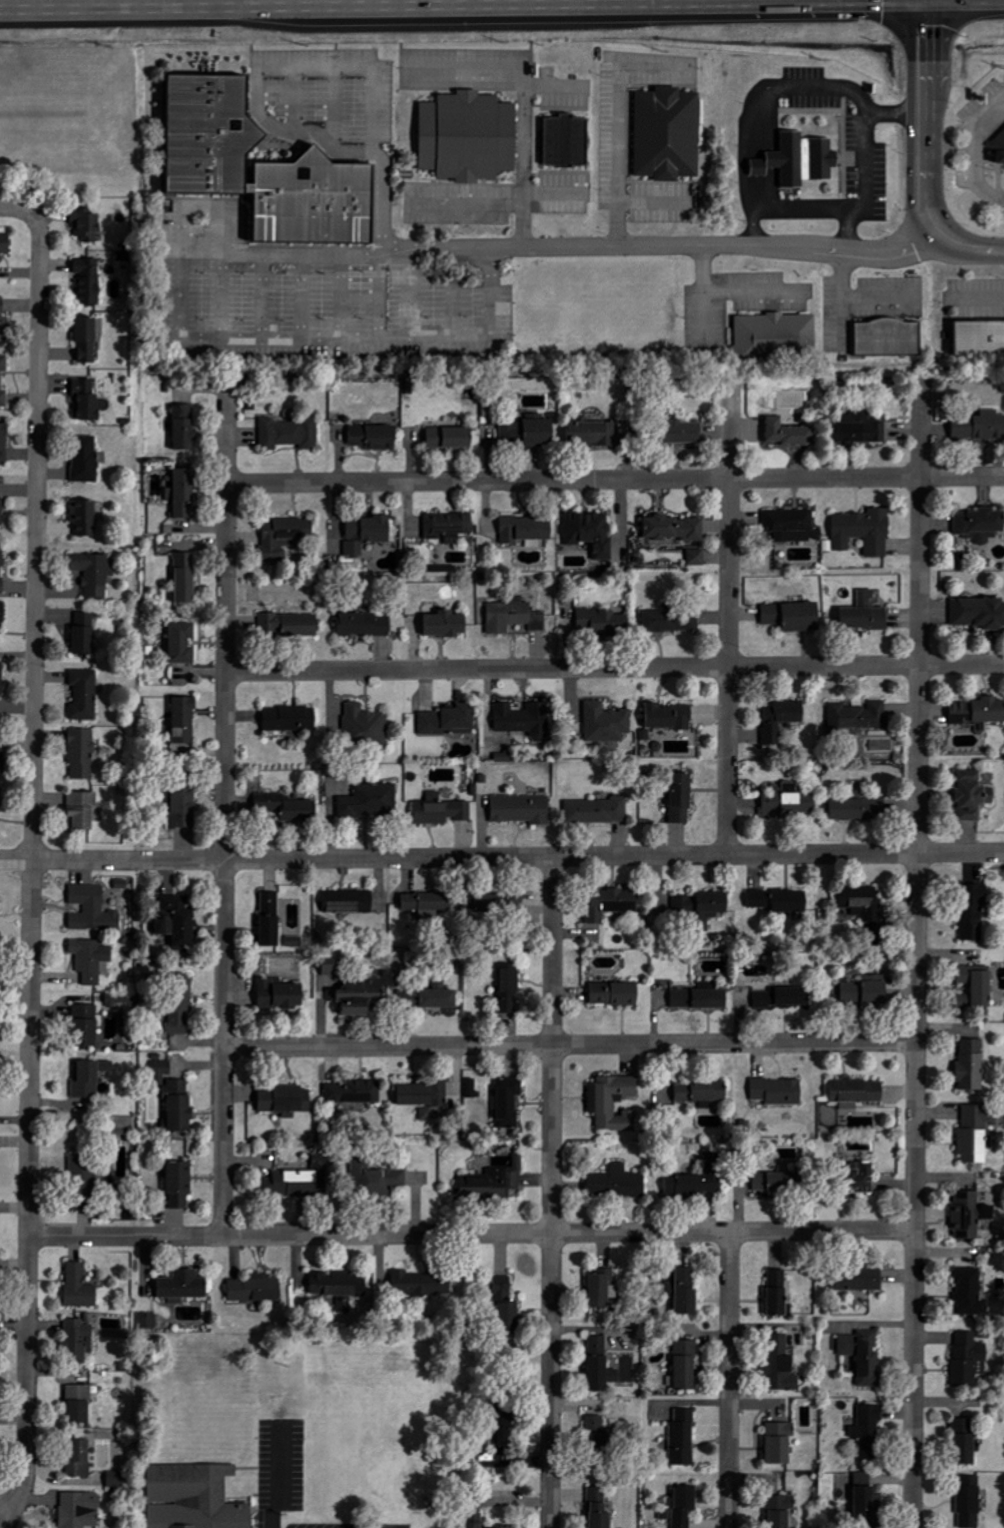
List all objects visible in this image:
traffic signals: (885, 1)
road: (470, 5)
traffic signals: (939, 26)
road: (761, 92)
road: (521, 105)
road: (371, 117)
road: (935, 117)
road: (912, 124)
building: (668, 134)
building: (469, 136)
building: (566, 140)
road: (953, 147)
road: (972, 147)
building: (999, 147)
building: (800, 159)
road: (614, 161)
building: (263, 166)
road: (1000, 205)
road: (853, 206)
road: (9, 207)
building: (88, 224)
road: (844, 231)
building: (5, 243)
road: (669, 246)
road: (967, 250)
building: (89, 280)
road: (980, 298)
building: (4, 322)
building: (777, 337)
building: (889, 337)
building: (980, 339)
building: (87, 340)
road: (189, 344)
building: (1, 382)
building: (86, 401)
building: (185, 427)
building: (980, 427)
building: (531, 429)
building: (861, 430)
building: (683, 432)
building: (290, 433)
building: (593, 433)
building: (790, 433)
building: (374, 437)
building: (451, 438)
building: (4, 442)
building: (86, 459)
road: (615, 481)
building: (183, 493)
building: (1, 503)
building: (84, 517)
building: (792, 525)
building: (980, 525)
building: (448, 526)
building: (675, 528)
building: (864, 531)
building: (591, 532)
building: (367, 533)
building: (286, 537)
building: (697, 557)
building: (2, 567)
building: (444, 569)
building: (95, 573)
building: (185, 578)
building: (3, 612)
building: (979, 613)
building: (773, 614)
building: (865, 614)
road: (729, 615)
building: (514, 617)
building: (803, 617)
building: (604, 622)
building: (670, 622)
building: (289, 624)
building: (366, 624)
building: (447, 624)
building: (84, 633)
building: (183, 643)
road: (615, 668)
building: (1, 684)
building: (84, 695)
building: (979, 712)
building: (669, 716)
building: (860, 717)
building: (291, 719)
building: (525, 719)
building: (185, 720)
building: (782, 720)
building: (449, 721)
building: (606, 722)
building: (365, 727)
building: (82, 754)
building: (3, 758)
building: (974, 796)
building: (682, 798)
building: (1, 799)
building: (371, 801)
building: (789, 801)
building: (183, 802)
building: (287, 807)
road: (225, 809)
building: (522, 809)
building: (860, 809)
building: (441, 810)
building: (83, 811)
building: (597, 811)
road: (502, 857)
road: (33, 859)
building: (778, 901)
building: (349, 902)
building: (612, 903)
building: (427, 905)
building: (702, 909)
building: (93, 910)
building: (975, 911)
building: (865, 913)
building: (271, 919)
building: (178, 921)
road: (917, 950)
building: (91, 959)
building: (332, 966)
building: (976, 987)
building: (510, 989)
building: (865, 993)
building: (615, 994)
building: (281, 995)
building: (359, 996)
building: (701, 998)
building: (410, 999)
building: (440, 999)
building: (766, 999)
building: (181, 1004)
building: (86, 1026)
road: (570, 1044)
building: (972, 1065)
building: (161, 1072)
building: (90, 1078)
building: (473, 1088)
building: (702, 1092)
building: (779, 1092)
building: (856, 1092)
building: (353, 1093)
building: (424, 1097)
building: (285, 1100)
building: (509, 1102)
building: (614, 1103)
building: (180, 1107)
building: (975, 1135)
building: (82, 1177)
building: (862, 1177)
building: (299, 1181)
building: (698, 1181)
building: (779, 1182)
building: (494, 1183)
building: (617, 1183)
building: (180, 1185)
road: (552, 1192)
building: (970, 1215)
road: (472, 1233)
building: (858, 1280)
building: (184, 1286)
building: (421, 1286)
building: (80, 1287)
building: (256, 1289)
building: (341, 1289)
building: (603, 1289)
building: (687, 1292)
building: (778, 1293)
building: (970, 1293)
building: (508, 1306)
building: (147, 1323)
building: (78, 1341)
building: (848, 1346)
building: (869, 1358)
building: (969, 1359)
building: (600, 1365)
building: (781, 1365)
building: (687, 1366)
road: (729, 1380)
building: (80, 1403)
building: (505, 1421)
building: (598, 1431)
building: (868, 1431)
building: (683, 1437)
building: (966, 1440)
building: (780, 1441)
building: (79, 1457)
building: (194, 1497)
building: (970, 1501)
building: (684, 1505)
building: (869, 1507)
building: (599, 1508)
building: (81, 1509)
building: (781, 1510)
building: (475, 1520)
road: (3, 1521)
building: (501, 1527)

